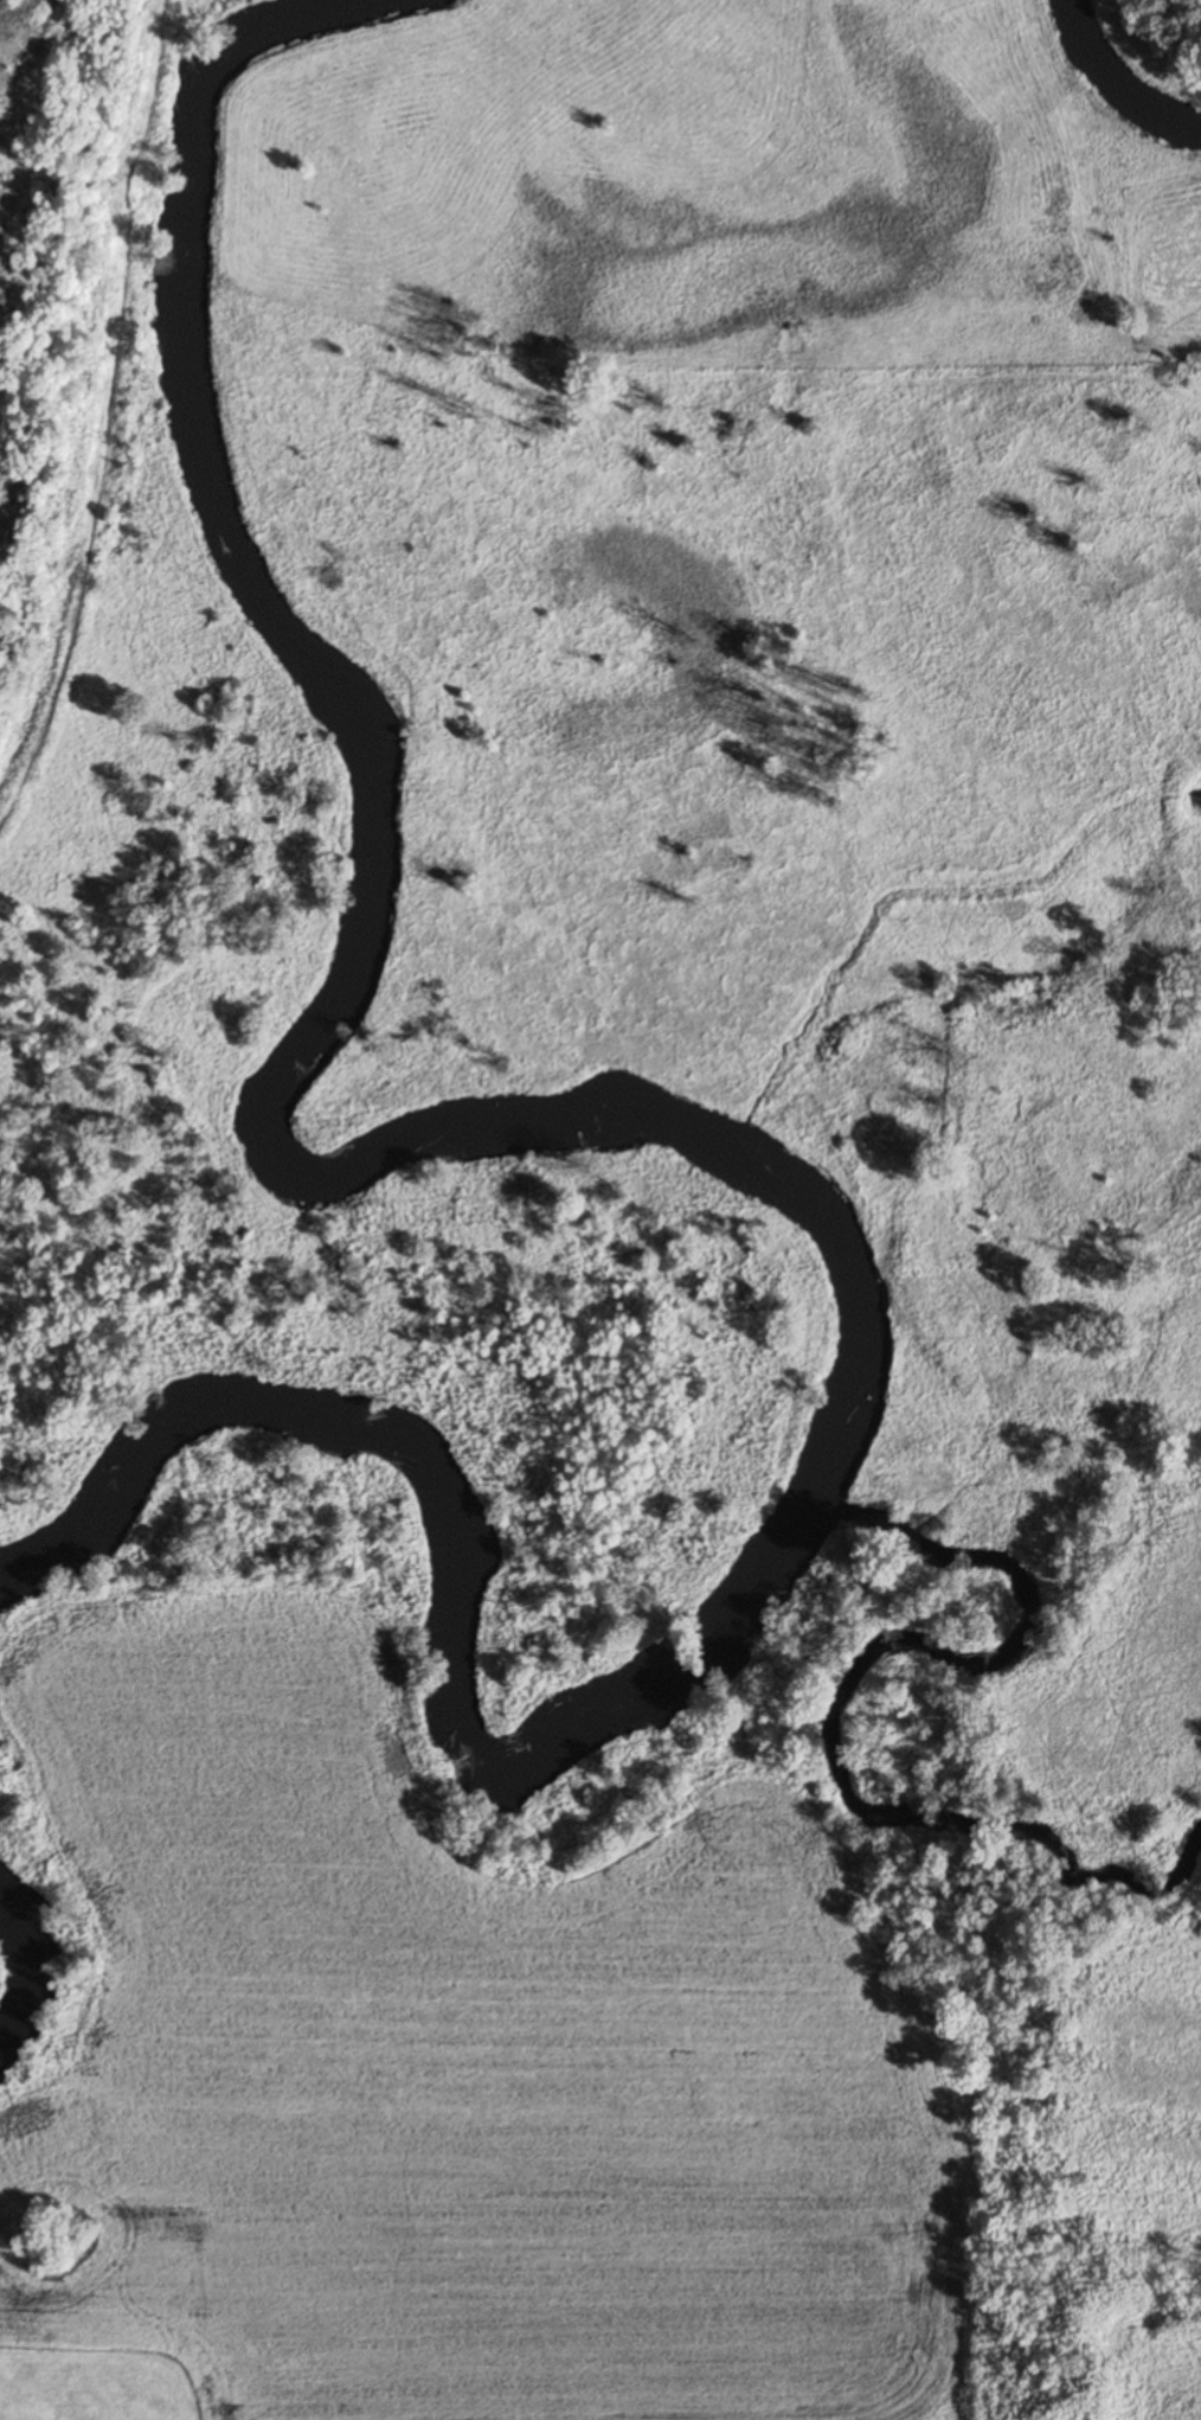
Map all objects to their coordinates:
river: (1120, 82)
river: (659, 1132)
river: (24, 1959)

